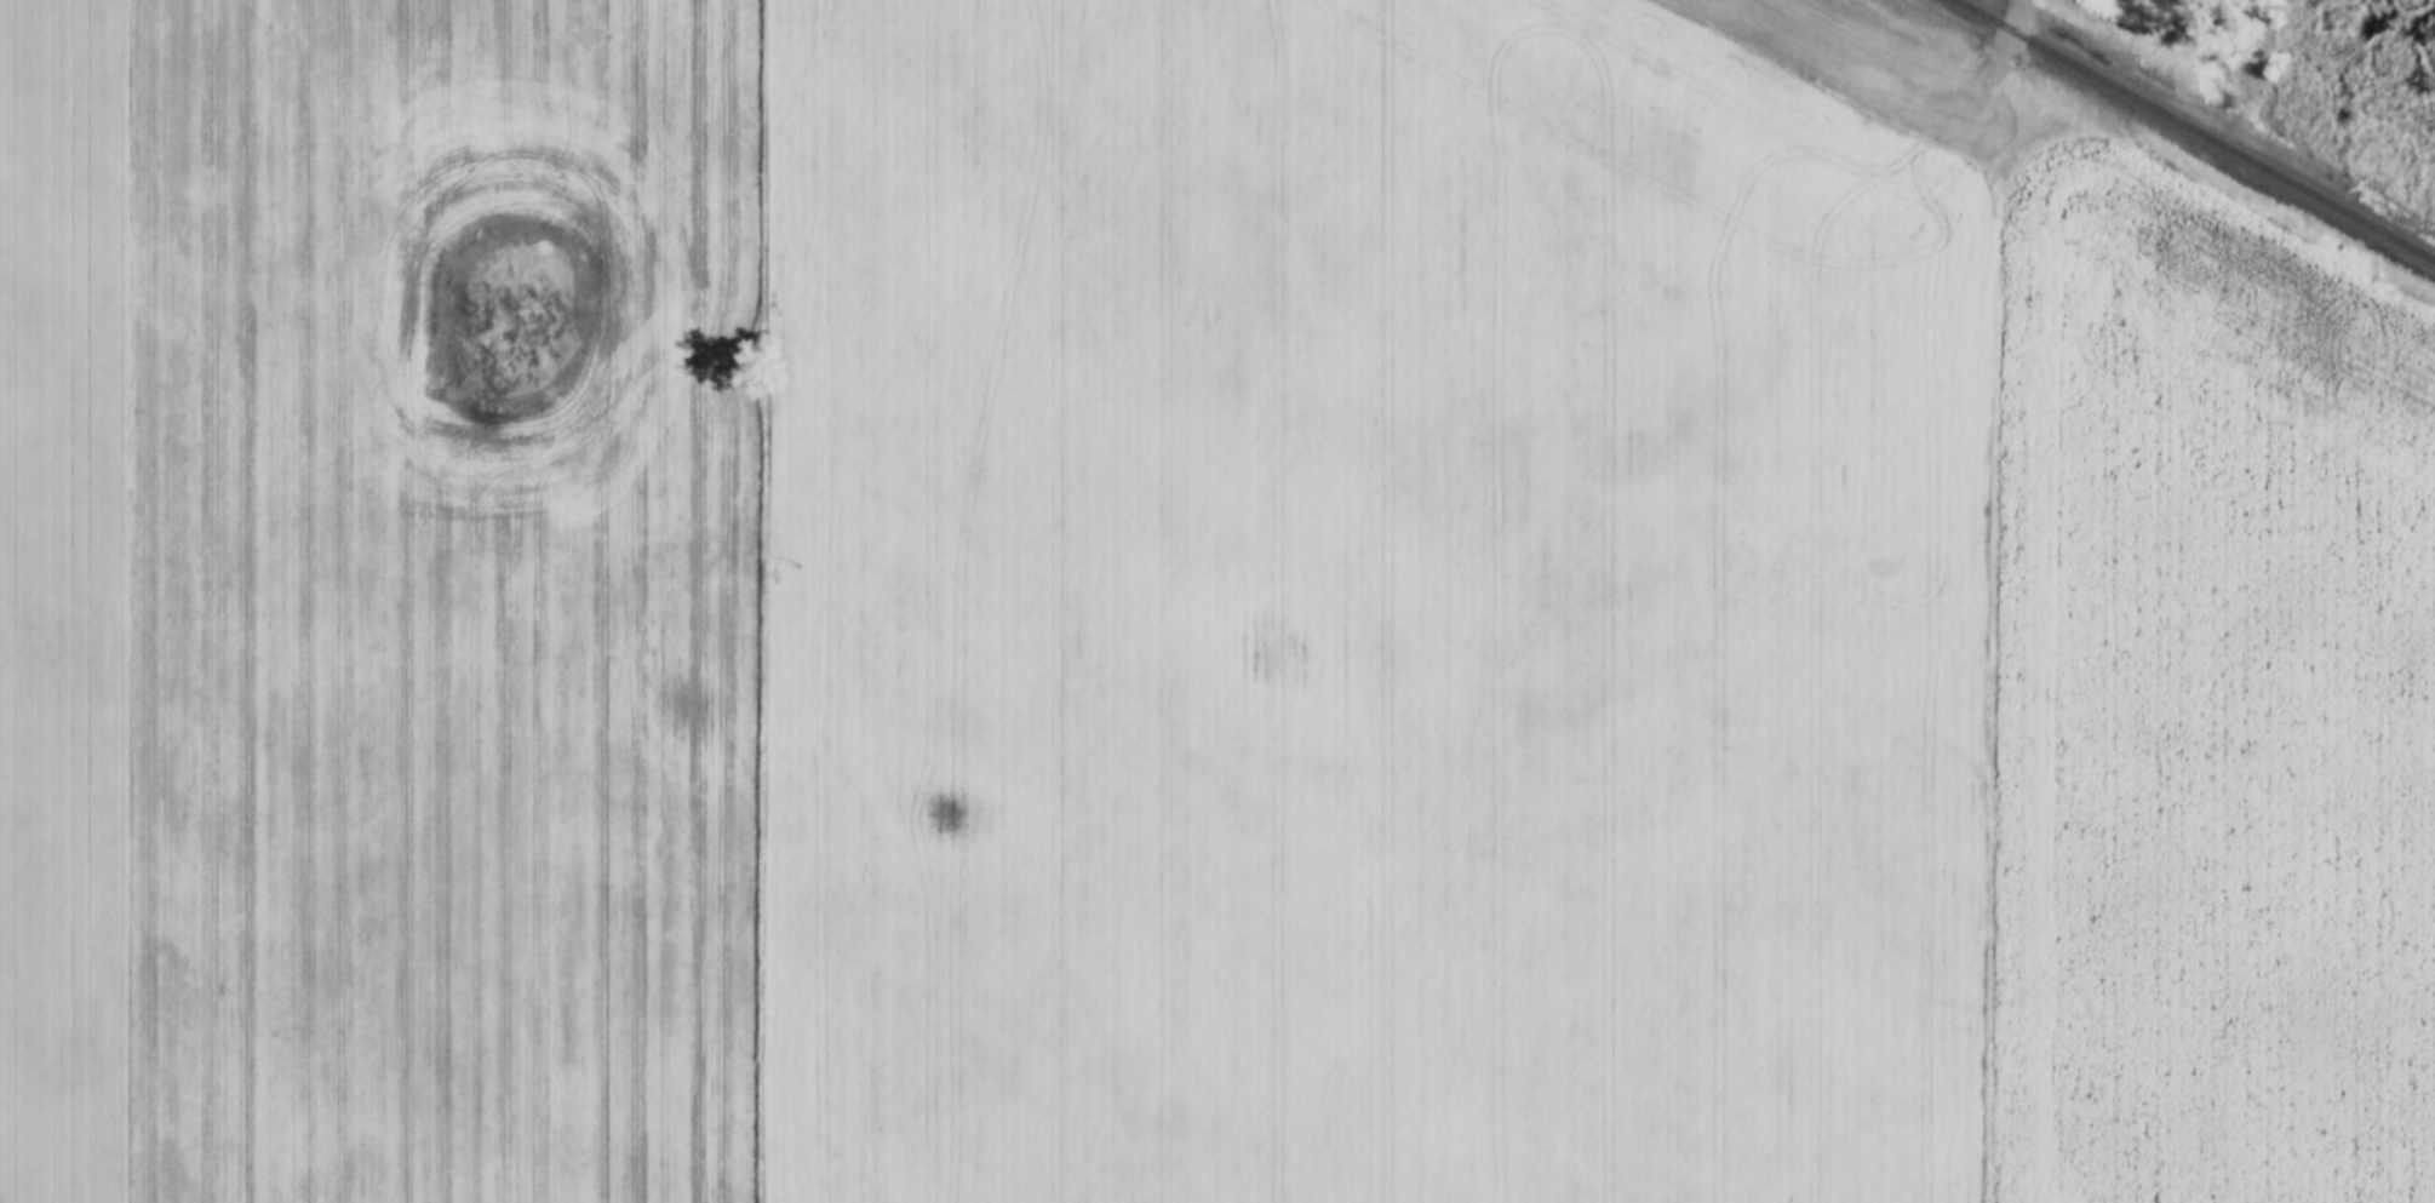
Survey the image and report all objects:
road: (1998, 63)
railway: (2196, 128)

